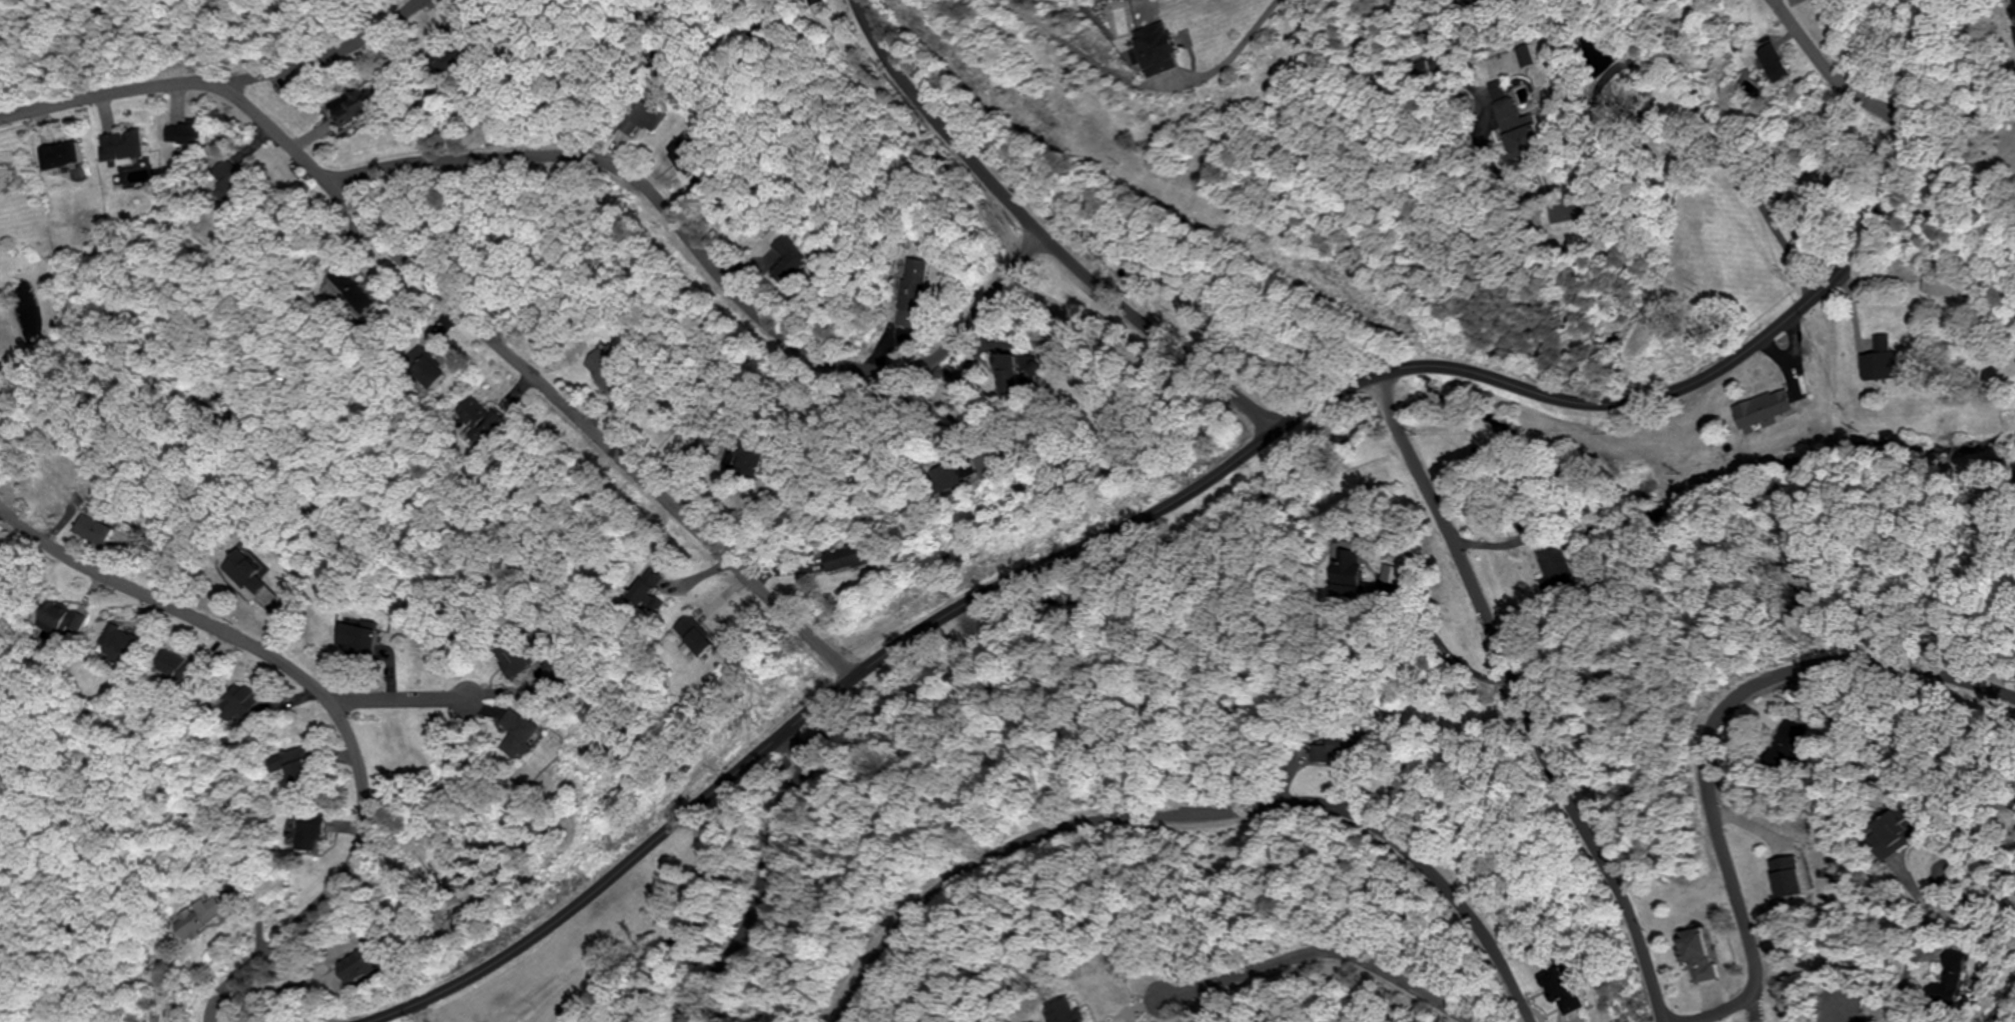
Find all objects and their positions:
building: (1151, 48)
road: (316, 59)
building: (1772, 62)
road: (1834, 75)
building: (183, 133)
building: (119, 145)
building: (54, 155)
road: (569, 155)
road: (1041, 237)
building: (1941, 283)
road: (588, 429)
road: (1201, 481)
building: (356, 637)
road: (1521, 697)
road: (385, 699)
road: (327, 703)
road: (459, 704)
road: (1713, 734)
building: (1785, 740)
building: (295, 763)
road: (1196, 812)
building: (1884, 830)
building: (1785, 879)
road: (762, 885)
road: (1929, 909)
road: (1393, 969)
building: (352, 970)
building: (1707, 970)
building: (1950, 970)
road: (2003, 1004)
building: (1061, 1009)

